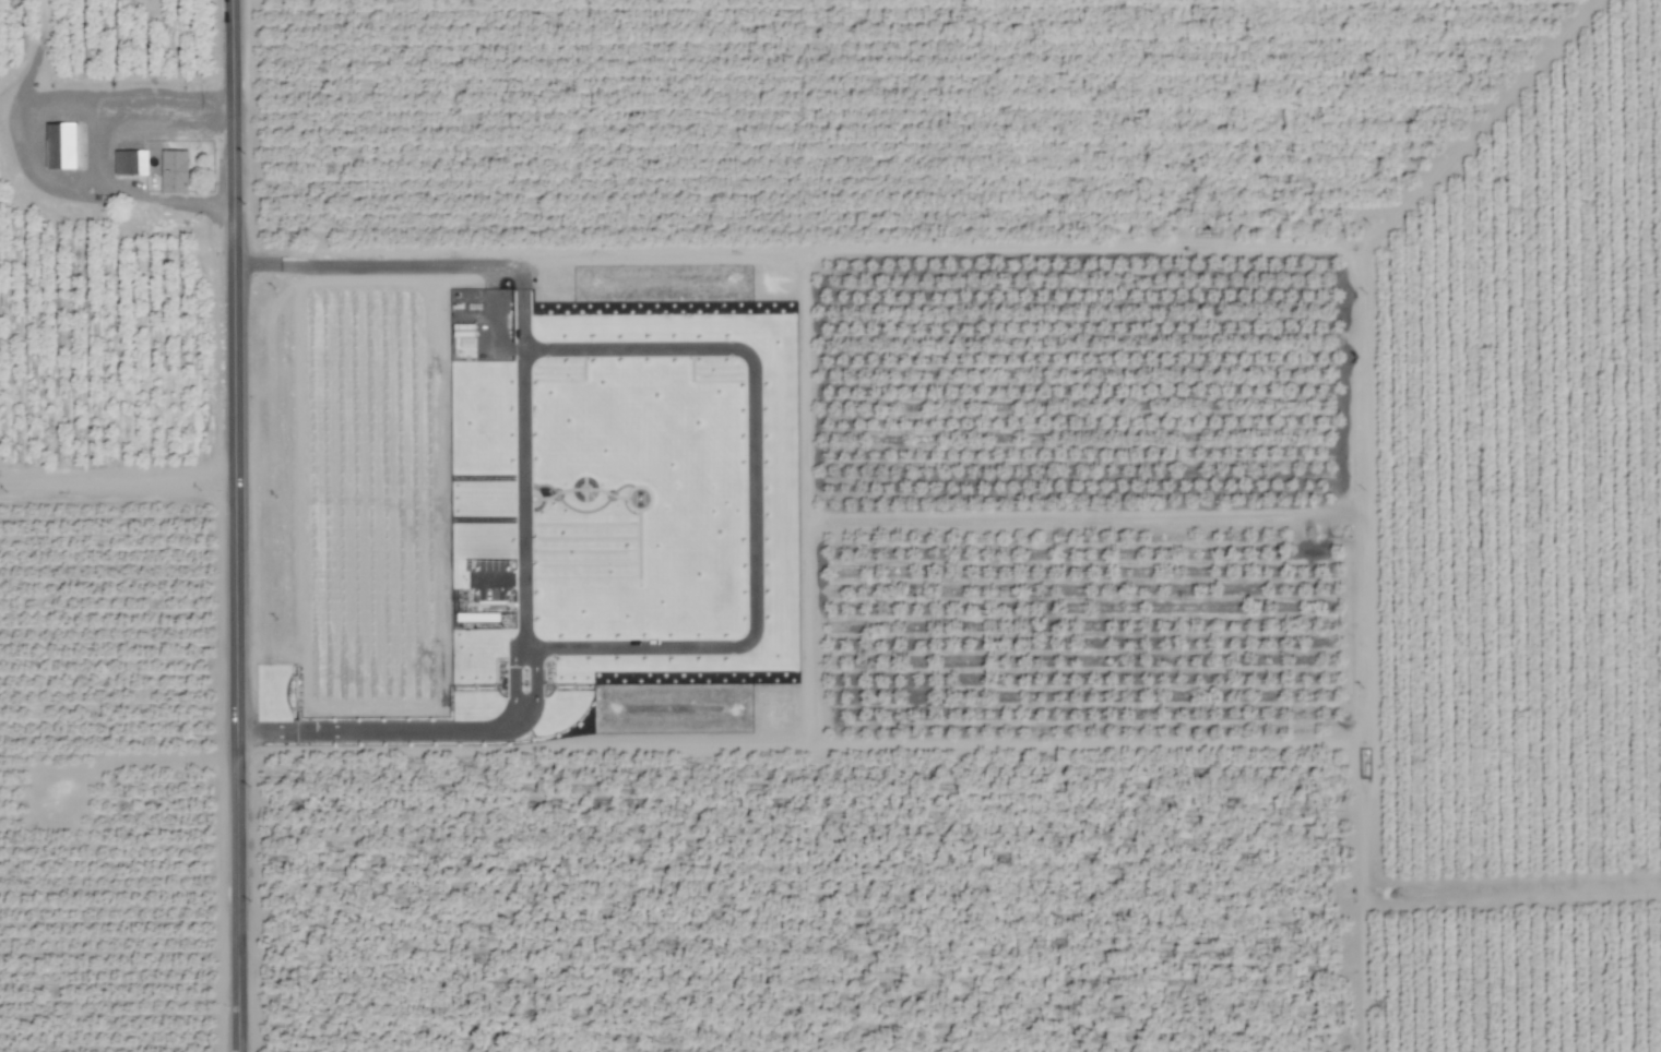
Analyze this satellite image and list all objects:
road: (15, 135)
building: (60, 146)
building: (130, 163)
building: (174, 171)
road: (418, 266)
road: (523, 464)
road: (120, 485)
road: (754, 499)
road: (241, 525)
road: (499, 578)
road: (524, 613)
road: (513, 680)
road: (533, 681)
road: (385, 732)

